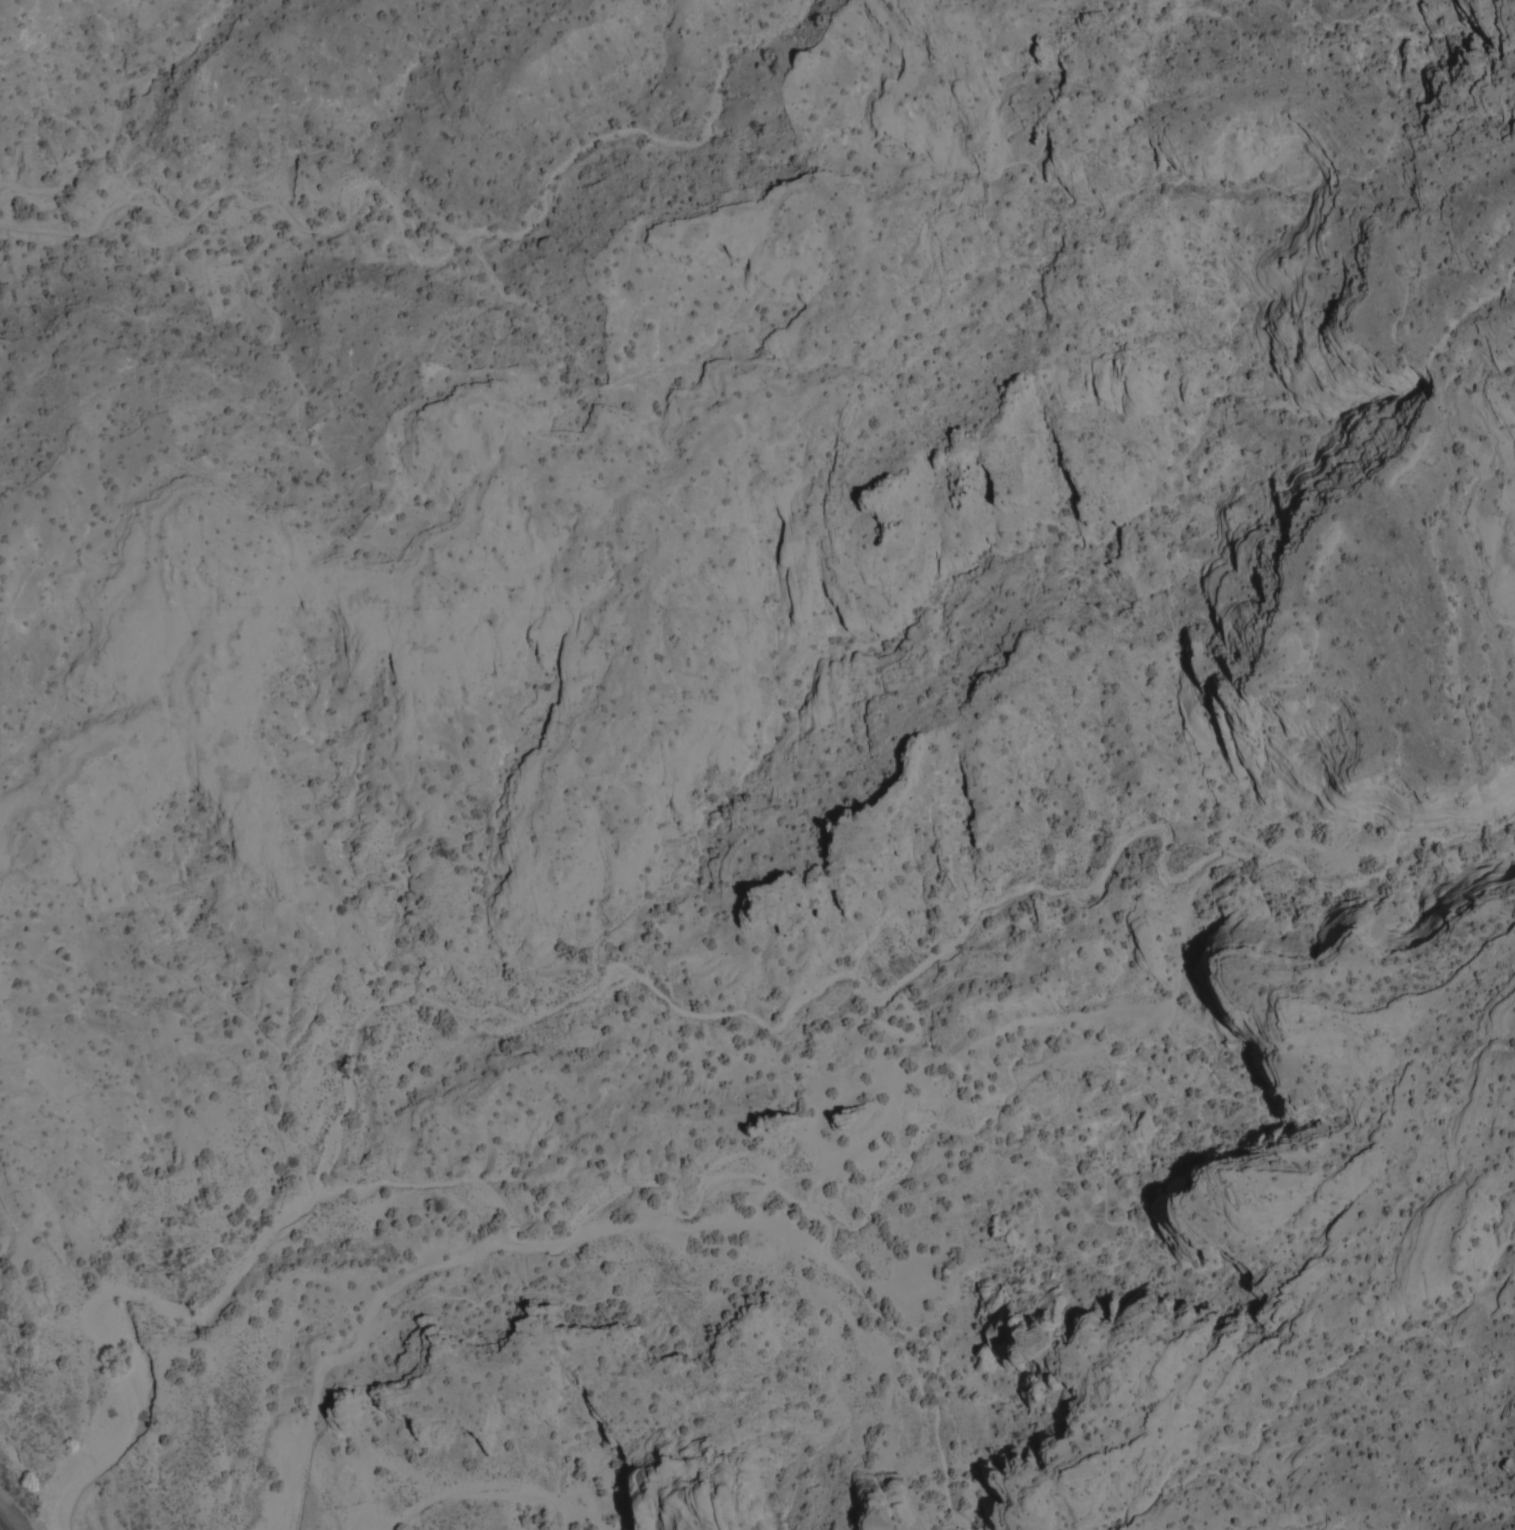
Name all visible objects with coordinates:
road: (1, 1528)

